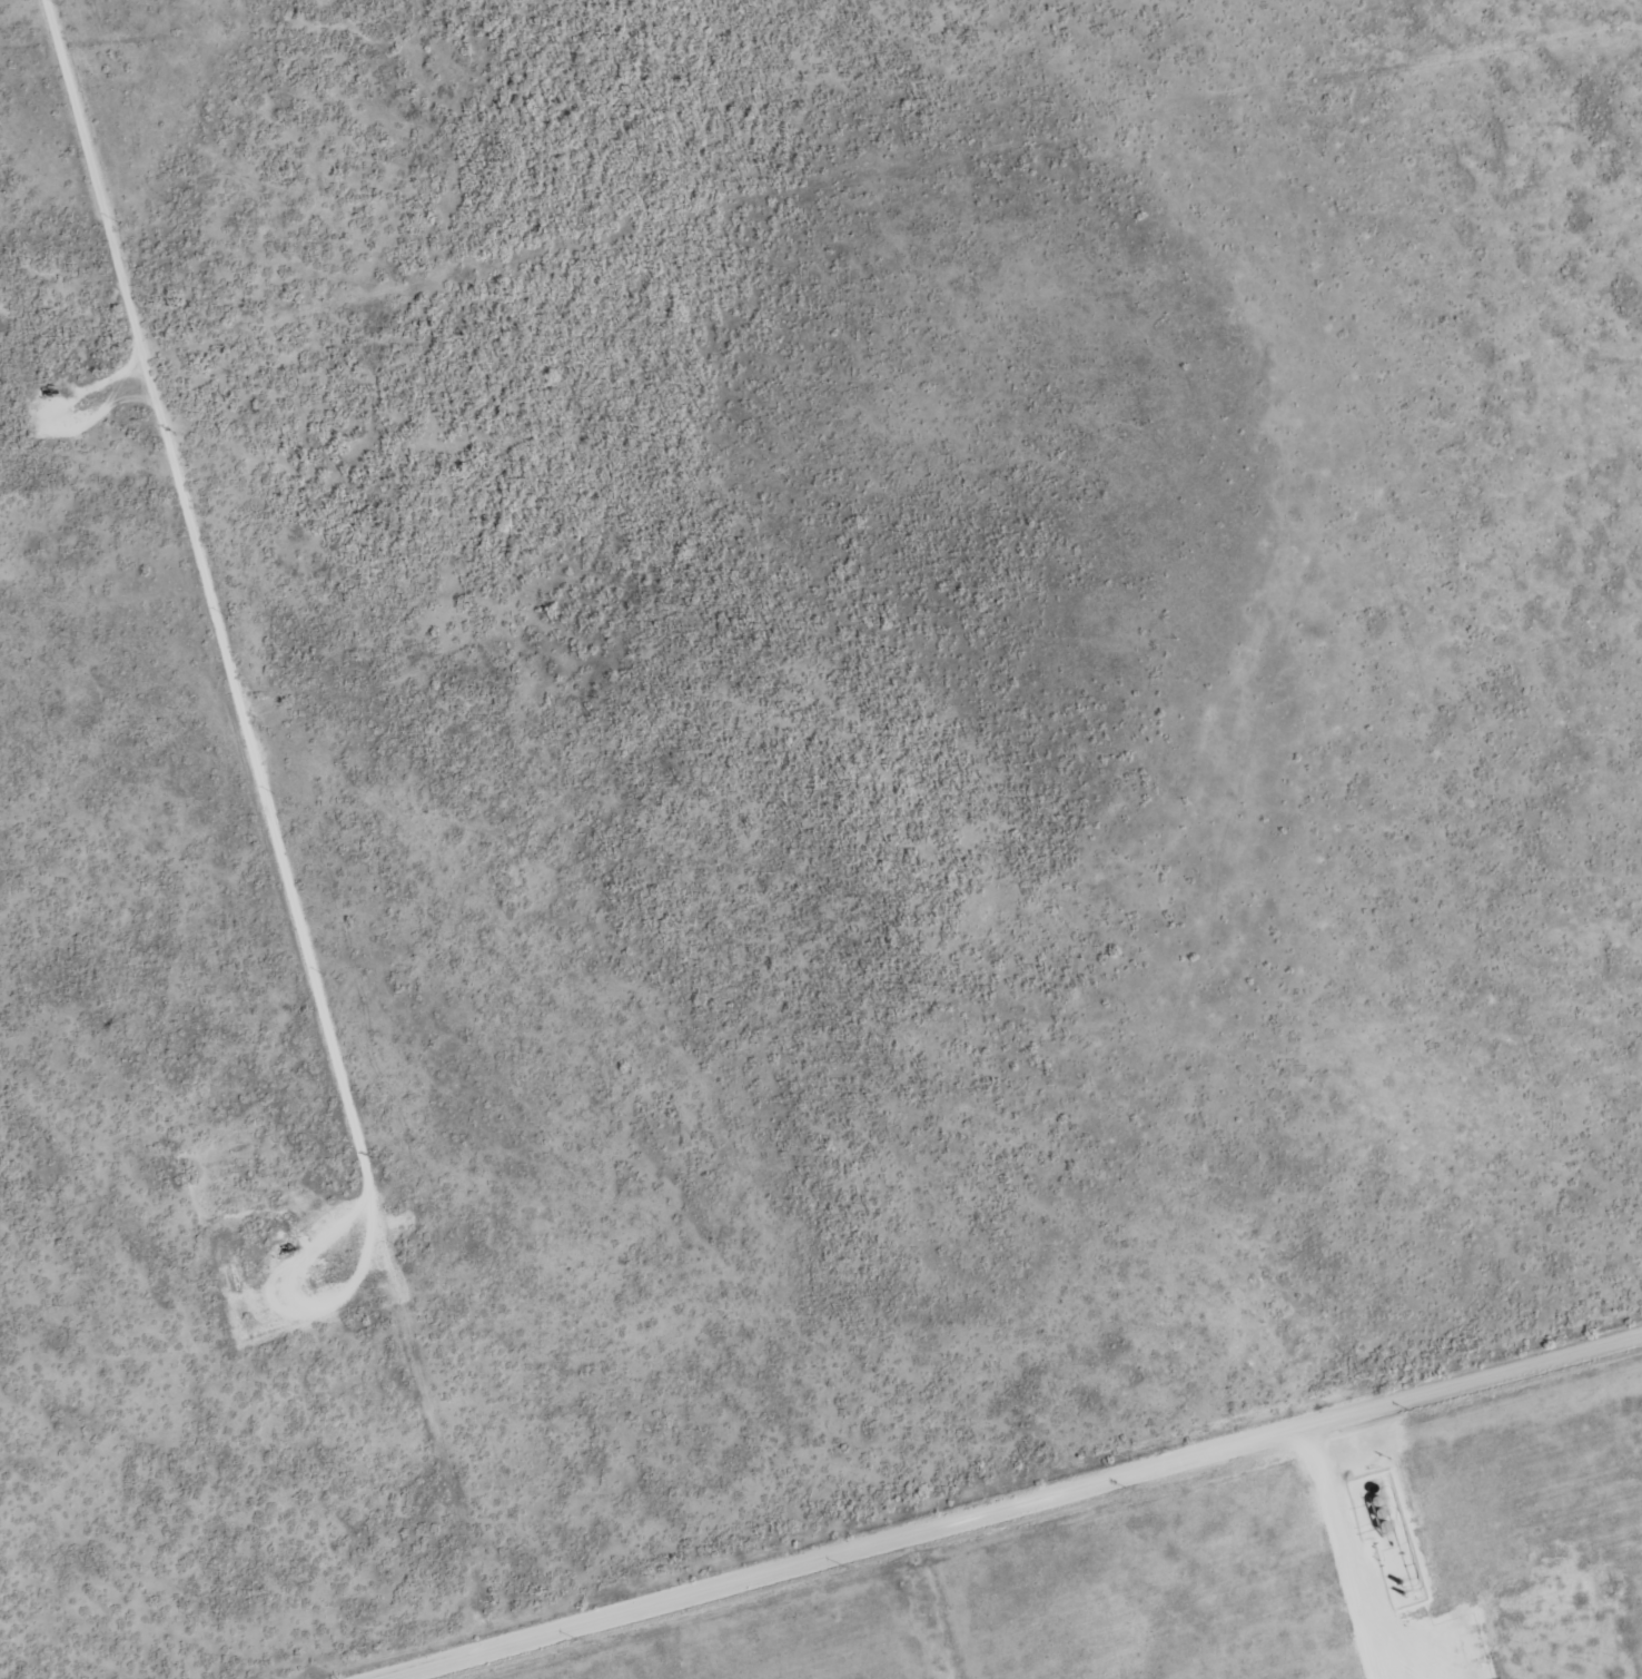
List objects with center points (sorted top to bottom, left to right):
road: (280, 829)
road: (1033, 1510)
road: (1343, 1558)

